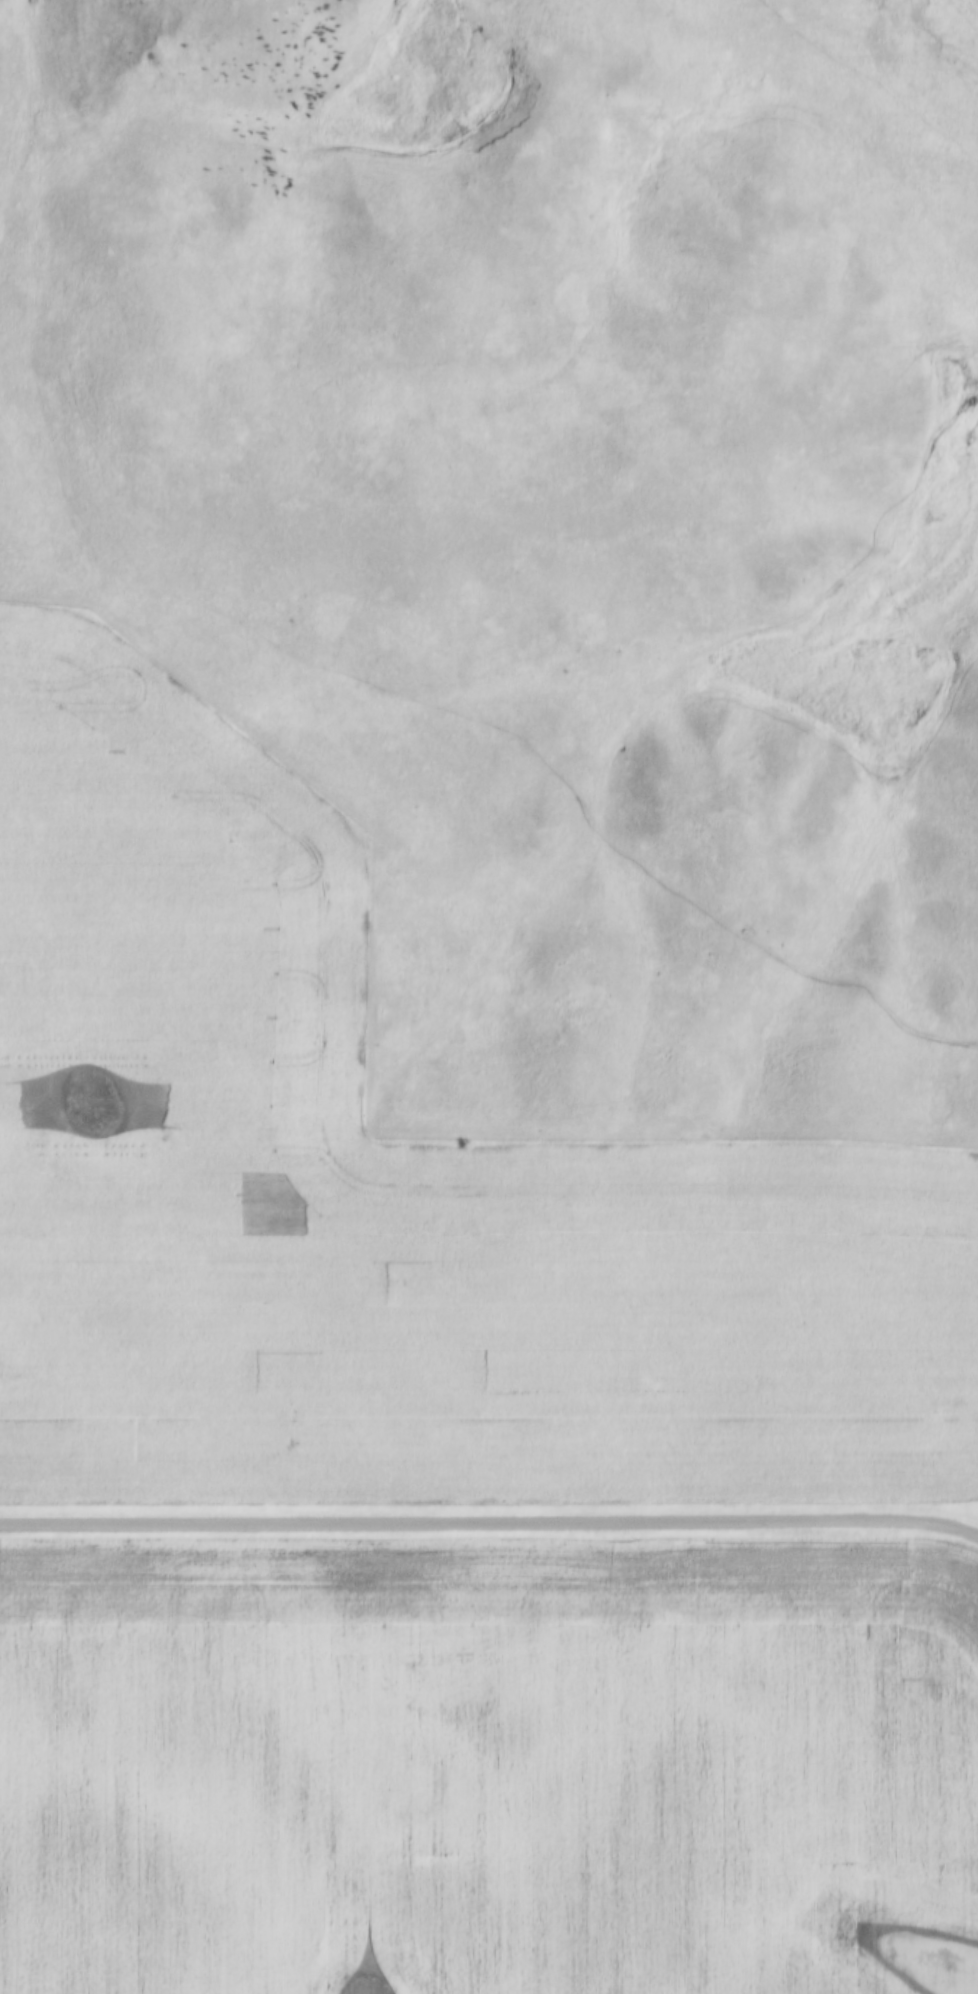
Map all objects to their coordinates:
road: (489, 1525)

